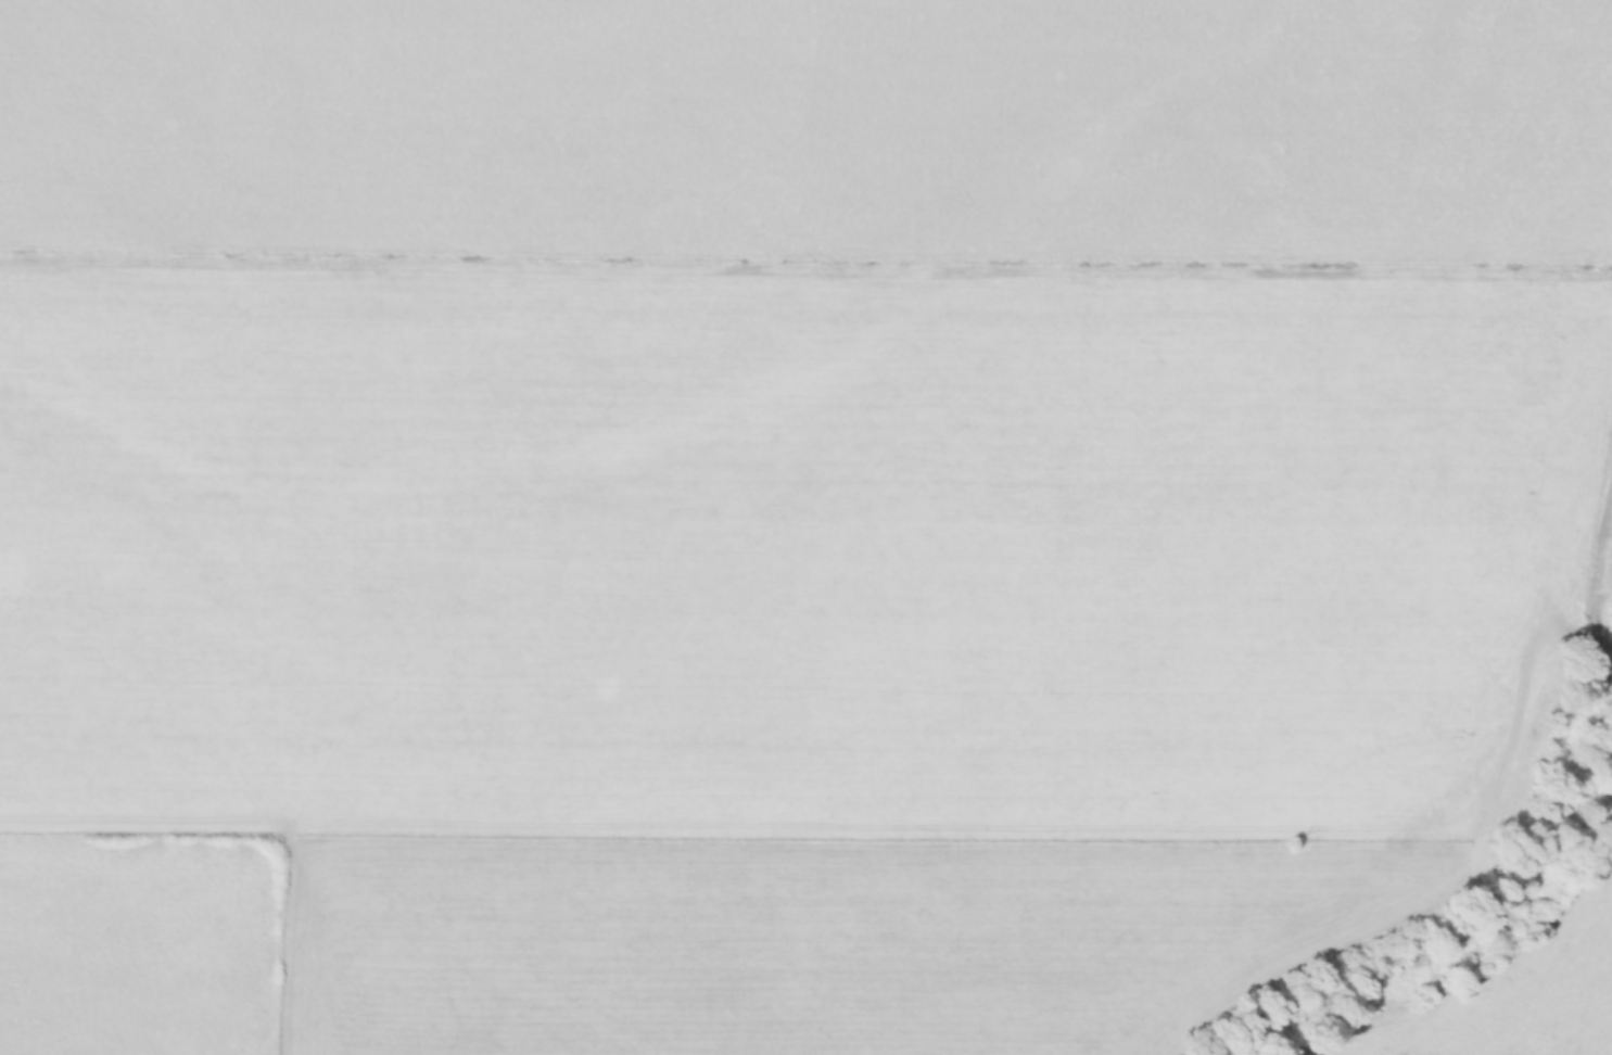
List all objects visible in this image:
crop: (805, 527)

